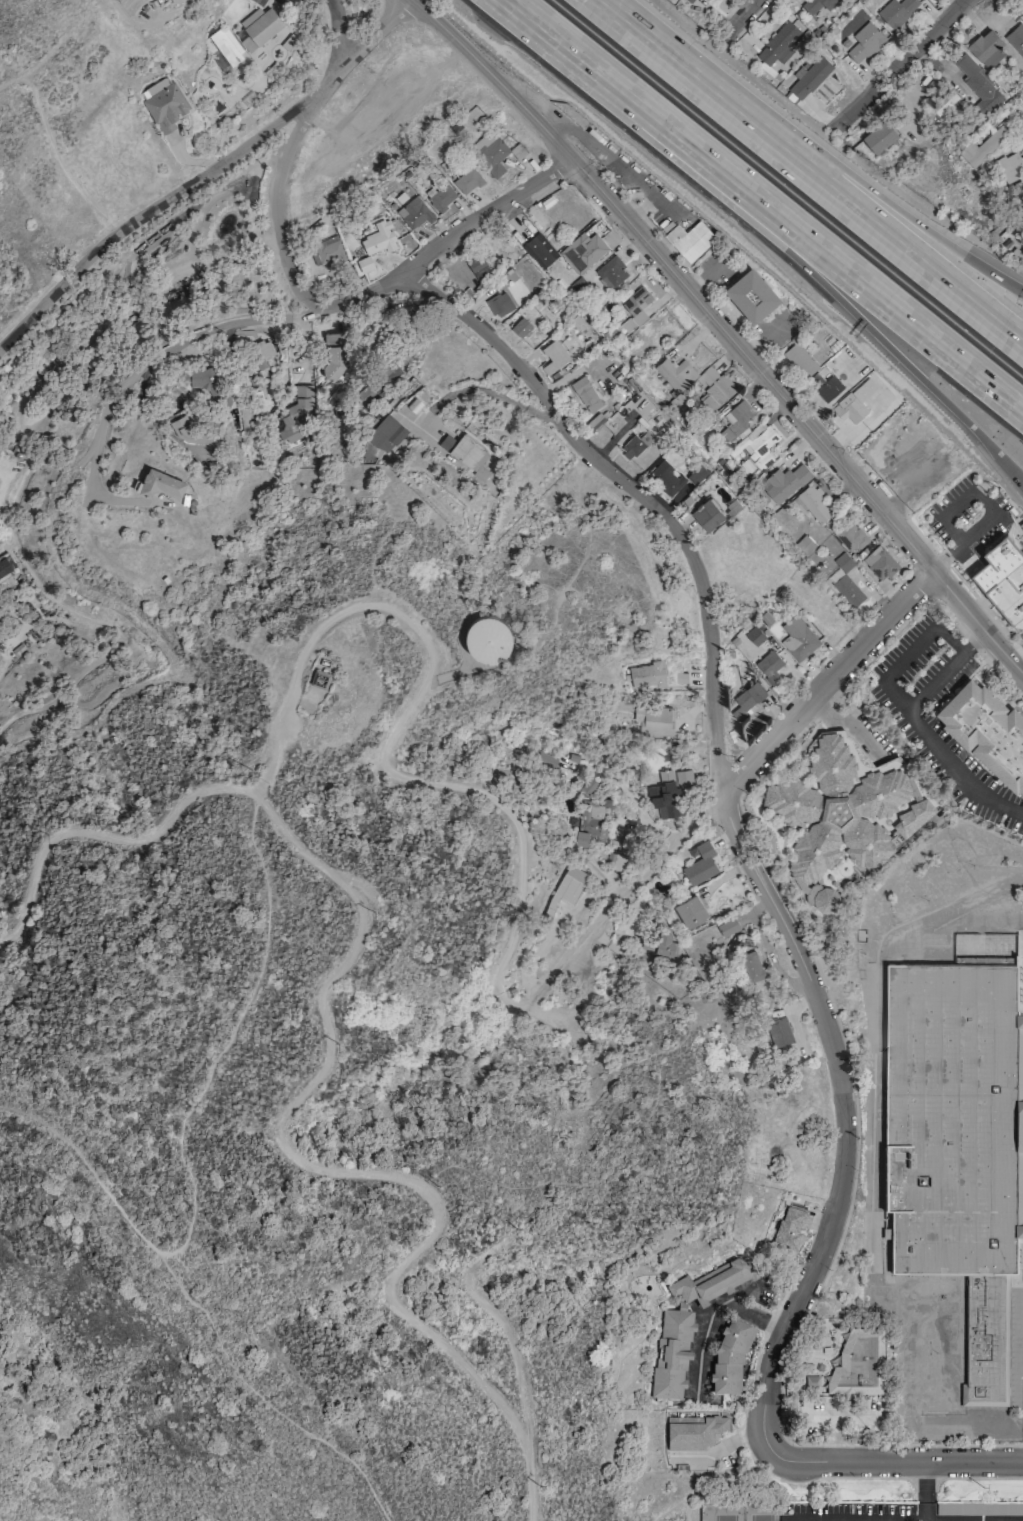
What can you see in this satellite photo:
building: (687, 0)
building: (174, 1)
building: (816, 5)
road: (745, 8)
building: (896, 11)
building: (258, 27)
road: (340, 28)
road: (537, 36)
building: (1016, 38)
building: (865, 42)
building: (778, 44)
building: (226, 46)
building: (986, 48)
road: (655, 50)
road: (902, 60)
road: (492, 76)
building: (806, 80)
building: (978, 83)
building: (163, 104)
building: (879, 136)
building: (984, 145)
building: (490, 150)
road: (237, 151)
road: (54, 154)
building: (1008, 167)
building: (467, 180)
road: (873, 192)
building: (441, 197)
road: (274, 202)
building: (413, 213)
road: (870, 223)
building: (379, 238)
building: (688, 239)
road: (801, 246)
building: (327, 249)
building: (539, 250)
building: (582, 251)
building: (362, 264)
building: (477, 266)
road: (808, 269)
building: (611, 272)
building: (751, 293)
building: (499, 304)
building: (634, 309)
road: (298, 315)
road: (29, 320)
building: (520, 327)
building: (262, 351)
building: (334, 354)
building: (552, 356)
building: (799, 359)
building: (675, 373)
building: (208, 382)
building: (828, 385)
building: (714, 387)
road: (486, 388)
building: (585, 394)
building: (853, 401)
building: (294, 414)
road: (795, 417)
building: (736, 421)
building: (189, 433)
building: (386, 433)
building: (635, 444)
building: (759, 444)
building: (465, 452)
building: (696, 473)
building: (666, 477)
building: (784, 482)
building: (160, 483)
building: (810, 503)
building: (707, 514)
building: (849, 536)
road: (962, 541)
building: (843, 562)
building: (879, 563)
building: (1003, 578)
building: (5, 581)
building: (848, 590)
road: (983, 606)
road: (145, 628)
building: (754, 635)
building: (485, 638)
storage tank: (485, 638)
building: (798, 638)
road: (908, 654)
building: (769, 666)
building: (647, 675)
building: (318, 678)
building: (746, 700)
building: (653, 718)
road: (922, 729)
building: (986, 730)
road: (759, 752)
building: (548, 761)
road: (388, 771)
building: (669, 793)
building: (842, 814)
building: (595, 817)
building: (581, 837)
building: (619, 837)
building: (616, 862)
building: (700, 864)
building: (563, 894)
building: (689, 911)
building: (727, 926)
road: (785, 932)
building: (657, 943)
building: (750, 966)
road: (839, 1028)
building: (776, 1029)
road: (231, 1036)
road: (330, 1053)
building: (954, 1144)
road: (90, 1169)
building: (789, 1228)
building: (712, 1282)
road: (714, 1321)
road: (505, 1330)
building: (672, 1353)
building: (730, 1357)
building: (857, 1364)
road: (262, 1399)
building: (693, 1431)
road: (707, 1472)
road: (888, 1477)
road: (925, 1490)
building: (979, 1508)
road: (857, 1518)

